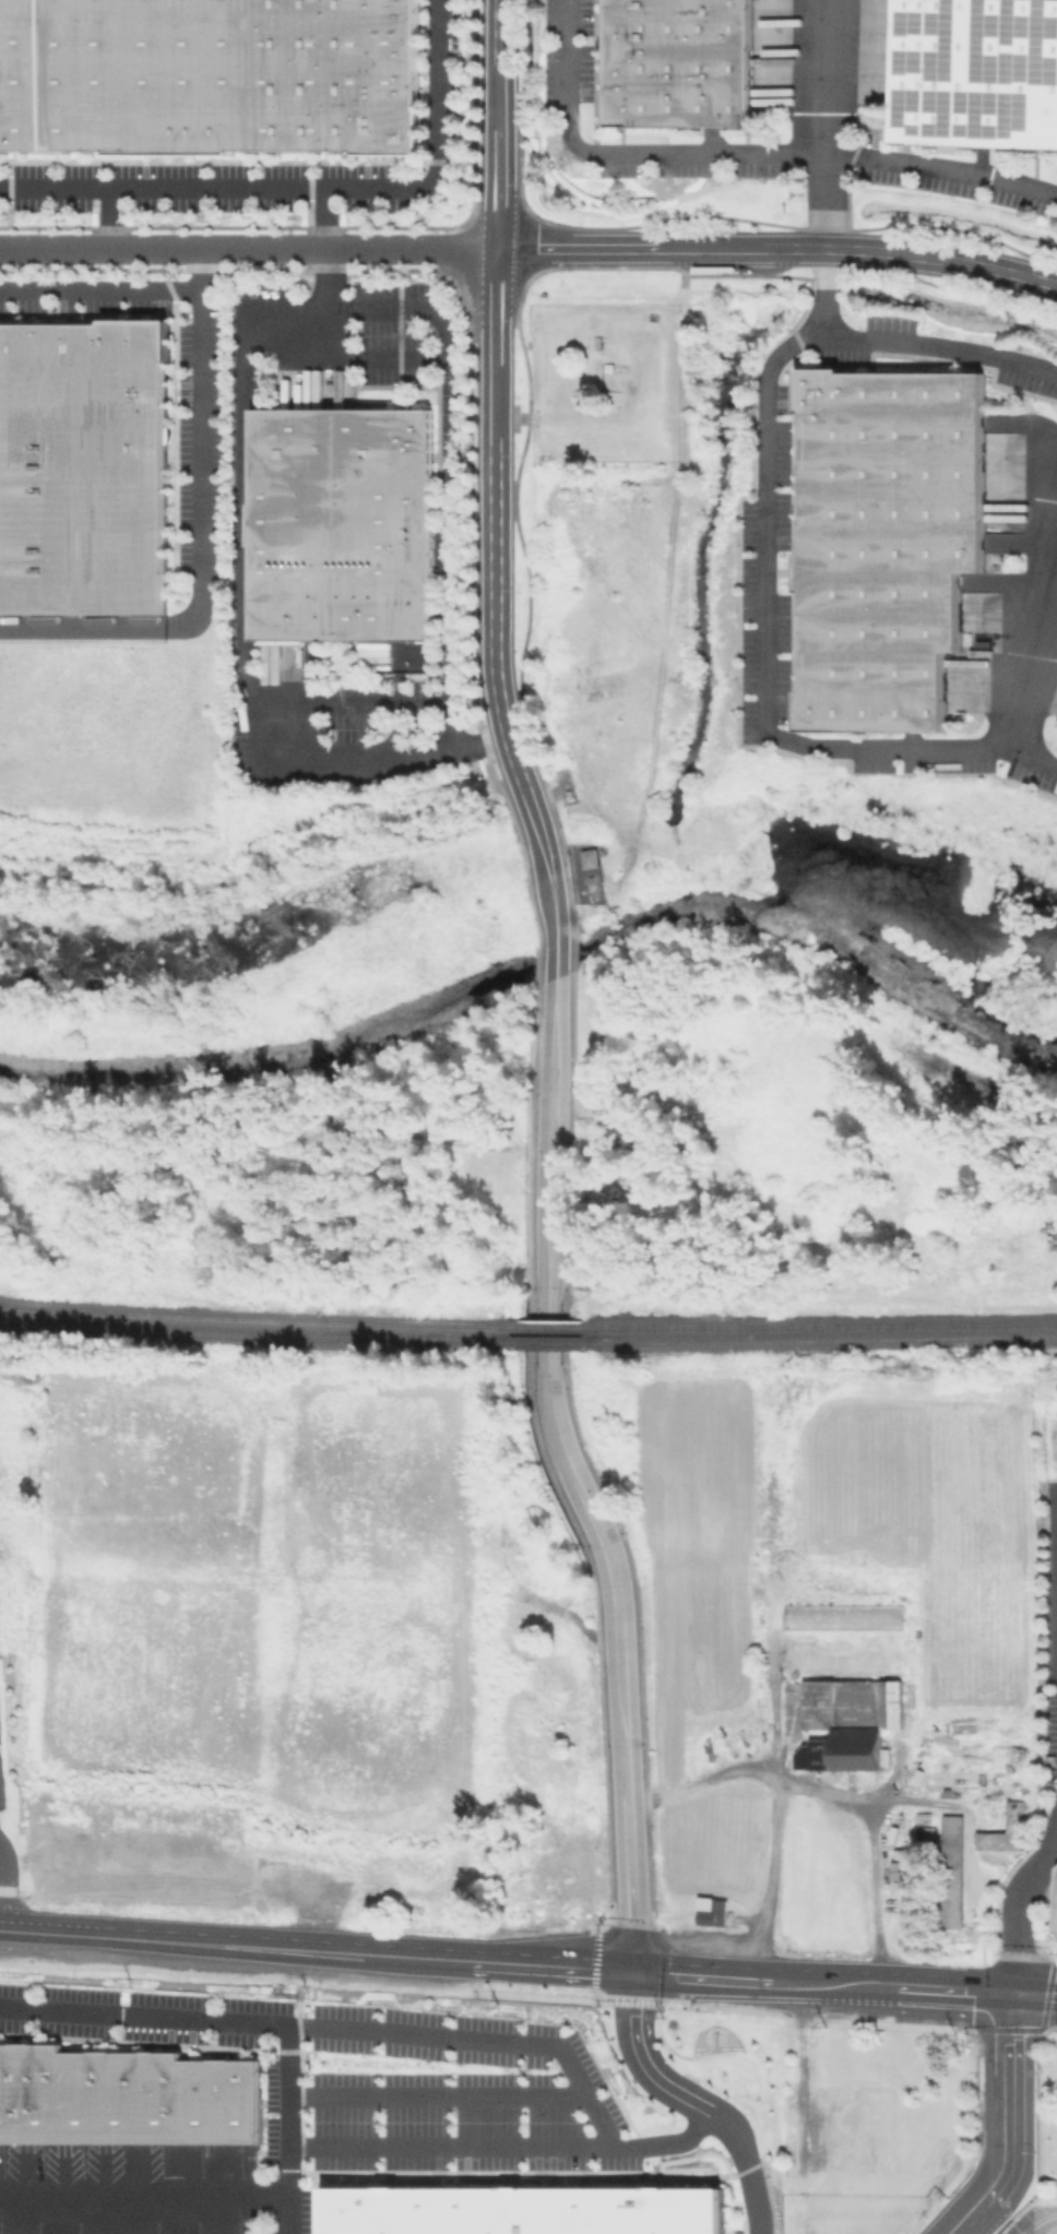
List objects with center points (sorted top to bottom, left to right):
building: (680, 63)
building: (977, 73)
building: (206, 74)
road: (824, 123)
road: (498, 124)
road: (741, 153)
road: (306, 188)
road: (109, 217)
road: (248, 247)
road: (661, 248)
road: (942, 259)
road: (102, 290)
road: (898, 343)
road: (368, 359)
road: (452, 445)
road: (205, 450)
building: (82, 470)
building: (346, 525)
building: (888, 544)
road: (494, 551)
road: (244, 589)
road: (83, 627)
road: (764, 666)
road: (1031, 667)
road: (349, 702)
road: (507, 780)
building: (593, 860)
road: (252, 871)
road: (551, 884)
road: (555, 962)
road: (550, 1152)
railway: (253, 1316)
railway: (549, 1323)
railway: (823, 1323)
railway: (253, 1333)
railway: (822, 1338)
railway: (547, 1340)
building: (845, 1615)
road: (617, 1631)
building: (852, 1716)
road: (832, 1789)
road: (936, 1802)
building: (925, 1816)
building: (1020, 1818)
building: (927, 1838)
building: (910, 1866)
building: (954, 1873)
road: (767, 1875)
road: (4, 1886)
road: (10, 1887)
road: (1018, 1903)
building: (1055, 1908)
building: (709, 1911)
road: (7, 1930)
road: (248, 1946)
road: (587, 1968)
road: (795, 1981)
road: (957, 1991)
traffic signals: (1017, 1994)
road: (1036, 1995)
road: (249, 2022)
road: (584, 2079)
building: (126, 2095)
road: (699, 2099)
road: (599, 2118)
road: (1013, 2123)
road: (509, 2142)
road: (144, 2195)
building: (523, 2210)
road: (1040, 2220)

